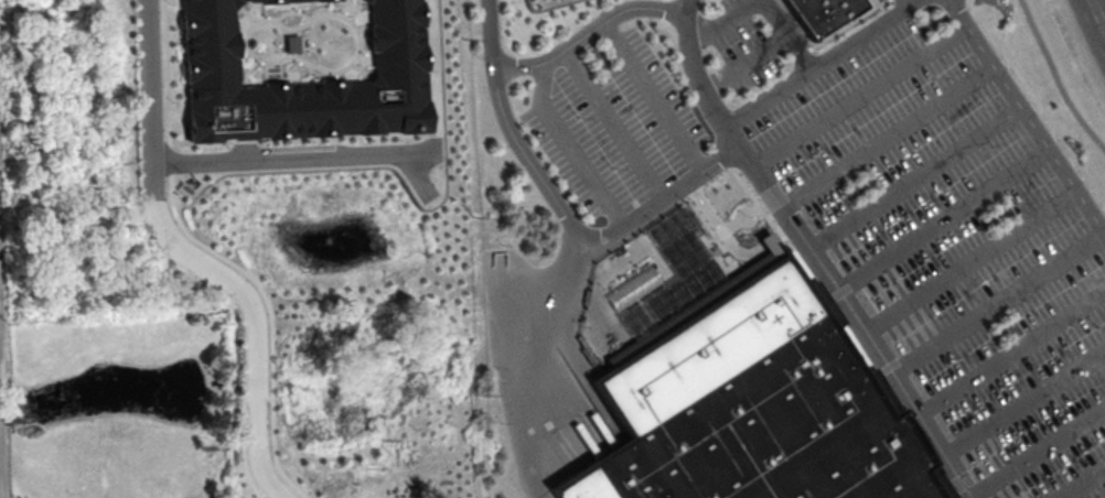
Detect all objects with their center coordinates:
building: (271, 0)
road: (905, 2)
building: (825, 12)
road: (1097, 15)
road: (730, 19)
road: (592, 31)
road: (790, 34)
parking lot: (747, 45)
road: (751, 62)
road: (823, 62)
building: (304, 79)
road: (1054, 79)
road: (152, 83)
road: (657, 95)
road: (865, 98)
road: (1028, 117)
parking lot: (615, 118)
road: (615, 123)
road: (889, 137)
road: (571, 145)
road: (293, 160)
road: (414, 175)
road: (915, 178)
road: (560, 206)
road: (942, 219)
road: (721, 226)
road: (783, 230)
road: (768, 242)
parking lot: (956, 253)
road: (813, 257)
road: (970, 263)
building: (631, 286)
road: (997, 303)
road: (255, 314)
road: (1011, 354)
road: (533, 365)
road: (0, 380)
road: (0, 394)
building: (754, 401)
road: (1024, 401)
road: (2, 446)
road: (1041, 458)
road: (1083, 484)

